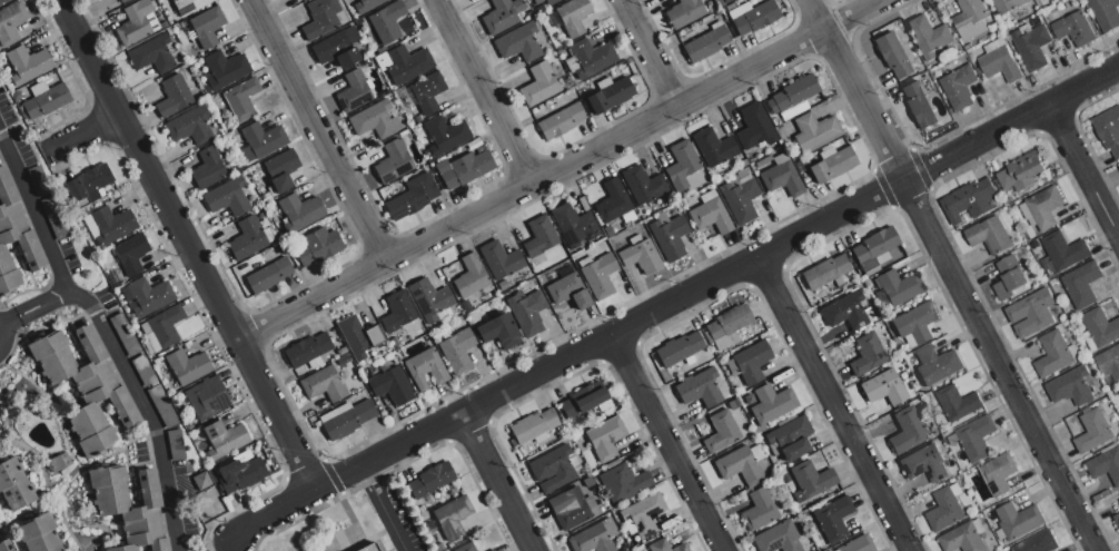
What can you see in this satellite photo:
building: (723, 0)
building: (2, 1)
building: (122, 1)
building: (548, 1)
building: (366, 4)
building: (1006, 4)
building: (188, 6)
building: (539, 9)
building: (683, 12)
building: (1105, 12)
building: (502, 16)
building: (753, 17)
building: (323, 18)
building: (570, 18)
building: (969, 19)
building: (387, 21)
building: (11, 22)
building: (137, 22)
building: (164, 24)
building: (1072, 27)
building: (202, 28)
building: (169, 31)
building: (928, 36)
building: (518, 43)
building: (704, 43)
building: (1031, 46)
building: (338, 48)
road: (648, 53)
building: (151, 55)
building: (891, 56)
building: (590, 57)
building: (998, 61)
building: (403, 63)
building: (28, 65)
building: (365, 65)
building: (196, 66)
building: (224, 69)
building: (537, 85)
building: (958, 87)
building: (354, 91)
road: (485, 91)
building: (423, 92)
building: (607, 96)
building: (172, 97)
building: (791, 97)
building: (44, 99)
building: (241, 99)
building: (917, 105)
building: (417, 119)
building: (373, 120)
building: (559, 120)
building: (190, 126)
building: (753, 126)
road: (85, 129)
building: (418, 129)
road: (319, 130)
building: (1109, 130)
building: (813, 131)
building: (445, 135)
building: (263, 139)
building: (712, 147)
building: (393, 161)
building: (680, 164)
building: (831, 165)
road: (1085, 166)
building: (465, 167)
building: (1118, 167)
building: (207, 168)
road: (559, 168)
building: (281, 169)
building: (1019, 171)
building: (780, 176)
building: (38, 181)
building: (258, 183)
building: (88, 184)
building: (641, 185)
building: (227, 197)
building: (412, 197)
building: (739, 197)
building: (266, 198)
building: (968, 199)
building: (611, 201)
building: (1043, 207)
building: (299, 211)
building: (709, 214)
building: (53, 217)
building: (109, 225)
building: (572, 225)
building: (988, 234)
building: (538, 236)
building: (14, 237)
building: (669, 237)
building: (250, 238)
building: (317, 246)
road: (190, 247)
building: (873, 249)
building: (1061, 250)
building: (130, 254)
building: (640, 256)
building: (499, 259)
building: (824, 272)
building: (268, 275)
building: (597, 275)
road: (953, 275)
building: (471, 276)
building: (1009, 276)
building: (1080, 283)
road: (719, 284)
building: (897, 287)
building: (567, 291)
building: (146, 297)
building: (429, 299)
building: (465, 305)
road: (31, 307)
building: (397, 312)
building: (527, 312)
building: (843, 312)
building: (1030, 312)
building: (726, 322)
building: (913, 324)
building: (1099, 326)
building: (162, 328)
building: (122, 329)
building: (499, 331)
road: (1, 336)
building: (358, 336)
road: (106, 337)
building: (677, 348)
building: (457, 350)
building: (308, 351)
building: (341, 352)
building: (1051, 353)
building: (865, 354)
building: (750, 362)
building: (1109, 363)
building: (934, 364)
building: (141, 366)
building: (160, 366)
building: (187, 366)
building: (425, 368)
building: (373, 370)
building: (167, 378)
building: (323, 384)
building: (1069, 385)
building: (85, 386)
building: (390, 386)
building: (881, 387)
building: (697, 388)
building: (207, 397)
building: (581, 400)
building: (957, 402)
building: (770, 403)
building: (162, 406)
road: (836, 406)
building: (346, 419)
building: (533, 426)
building: (1091, 430)
building: (720, 431)
building: (905, 431)
building: (974, 436)
building: (604, 437)
building: (789, 437)
building: (224, 439)
road: (674, 443)
building: (176, 444)
building: (58, 463)
building: (923, 463)
building: (1105, 464)
building: (737, 465)
building: (552, 469)
building: (997, 472)
building: (240, 475)
building: (810, 479)
building: (432, 480)
building: (201, 481)
building: (621, 483)
road: (498, 484)
building: (14, 485)
building: (452, 490)
building: (567, 508)
building: (943, 509)
building: (128, 510)
building: (756, 510)
road: (382, 511)
building: (641, 514)
building: (452, 516)
road: (276, 518)
building: (831, 519)
building: (1018, 519)
building: (1116, 519)
building: (39, 534)
building: (776, 538)
building: (961, 538)
building: (590, 539)
building: (1037, 542)
building: (855, 544)
building: (6, 545)
road: (234, 545)
building: (664, 545)
building: (368, 548)
building: (466, 548)
building: (492, 550)

